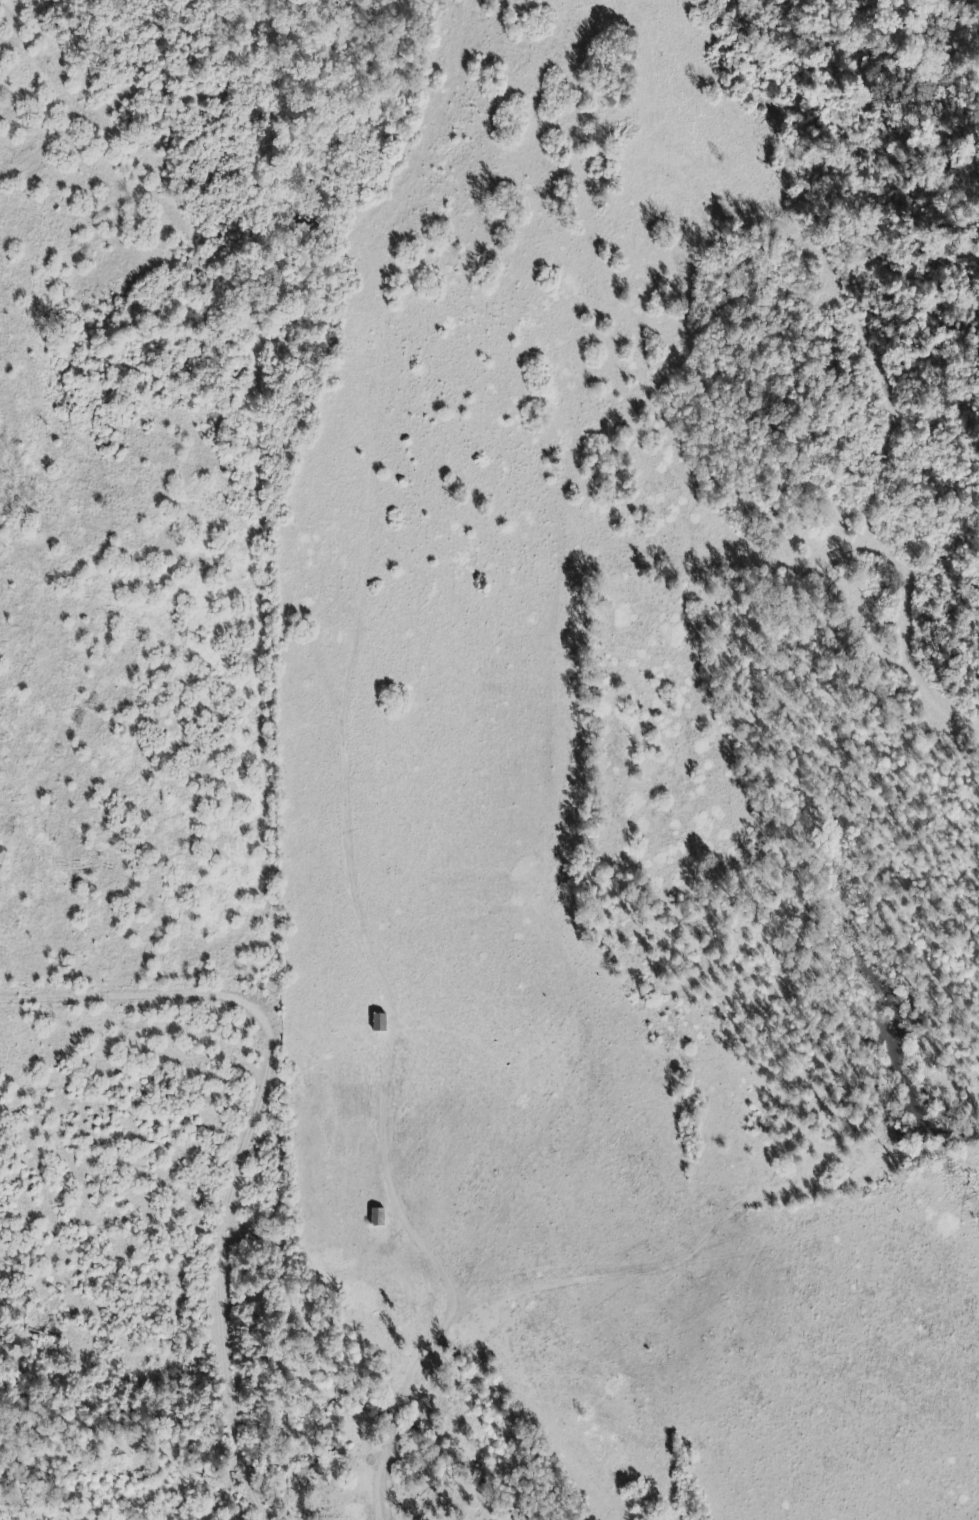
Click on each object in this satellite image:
road: (70, 60)
road: (48, 151)
park: (319, 424)
road: (274, 800)
road: (140, 1001)
road: (392, 1131)
road: (118, 1363)

